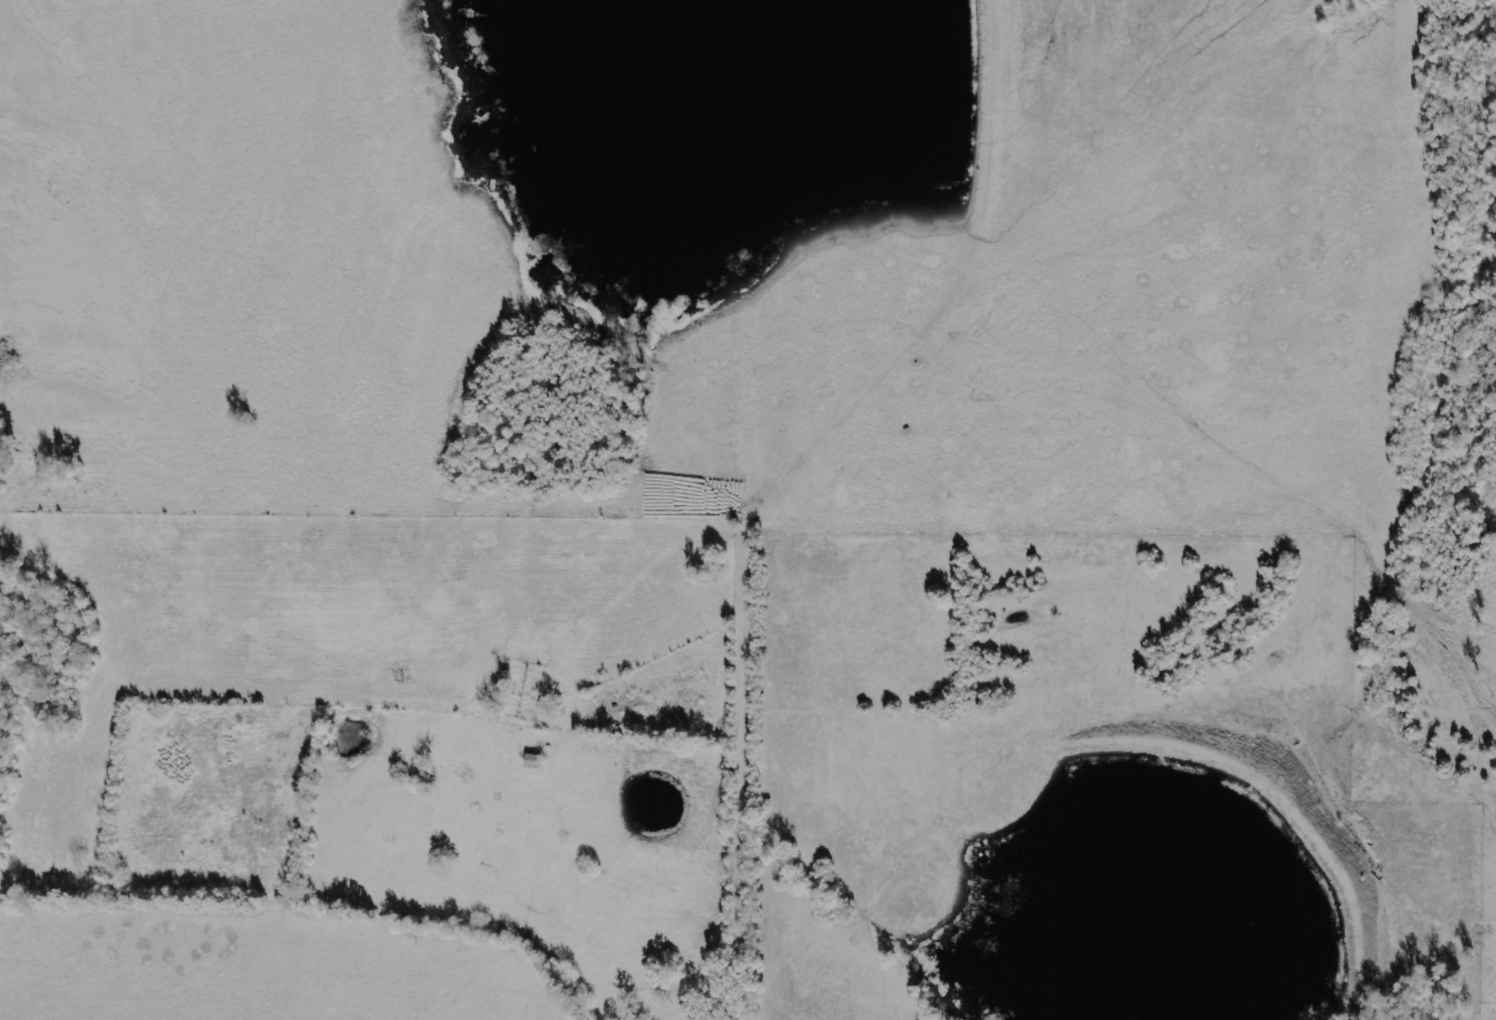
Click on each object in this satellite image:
building: (534, 760)
road: (753, 826)

